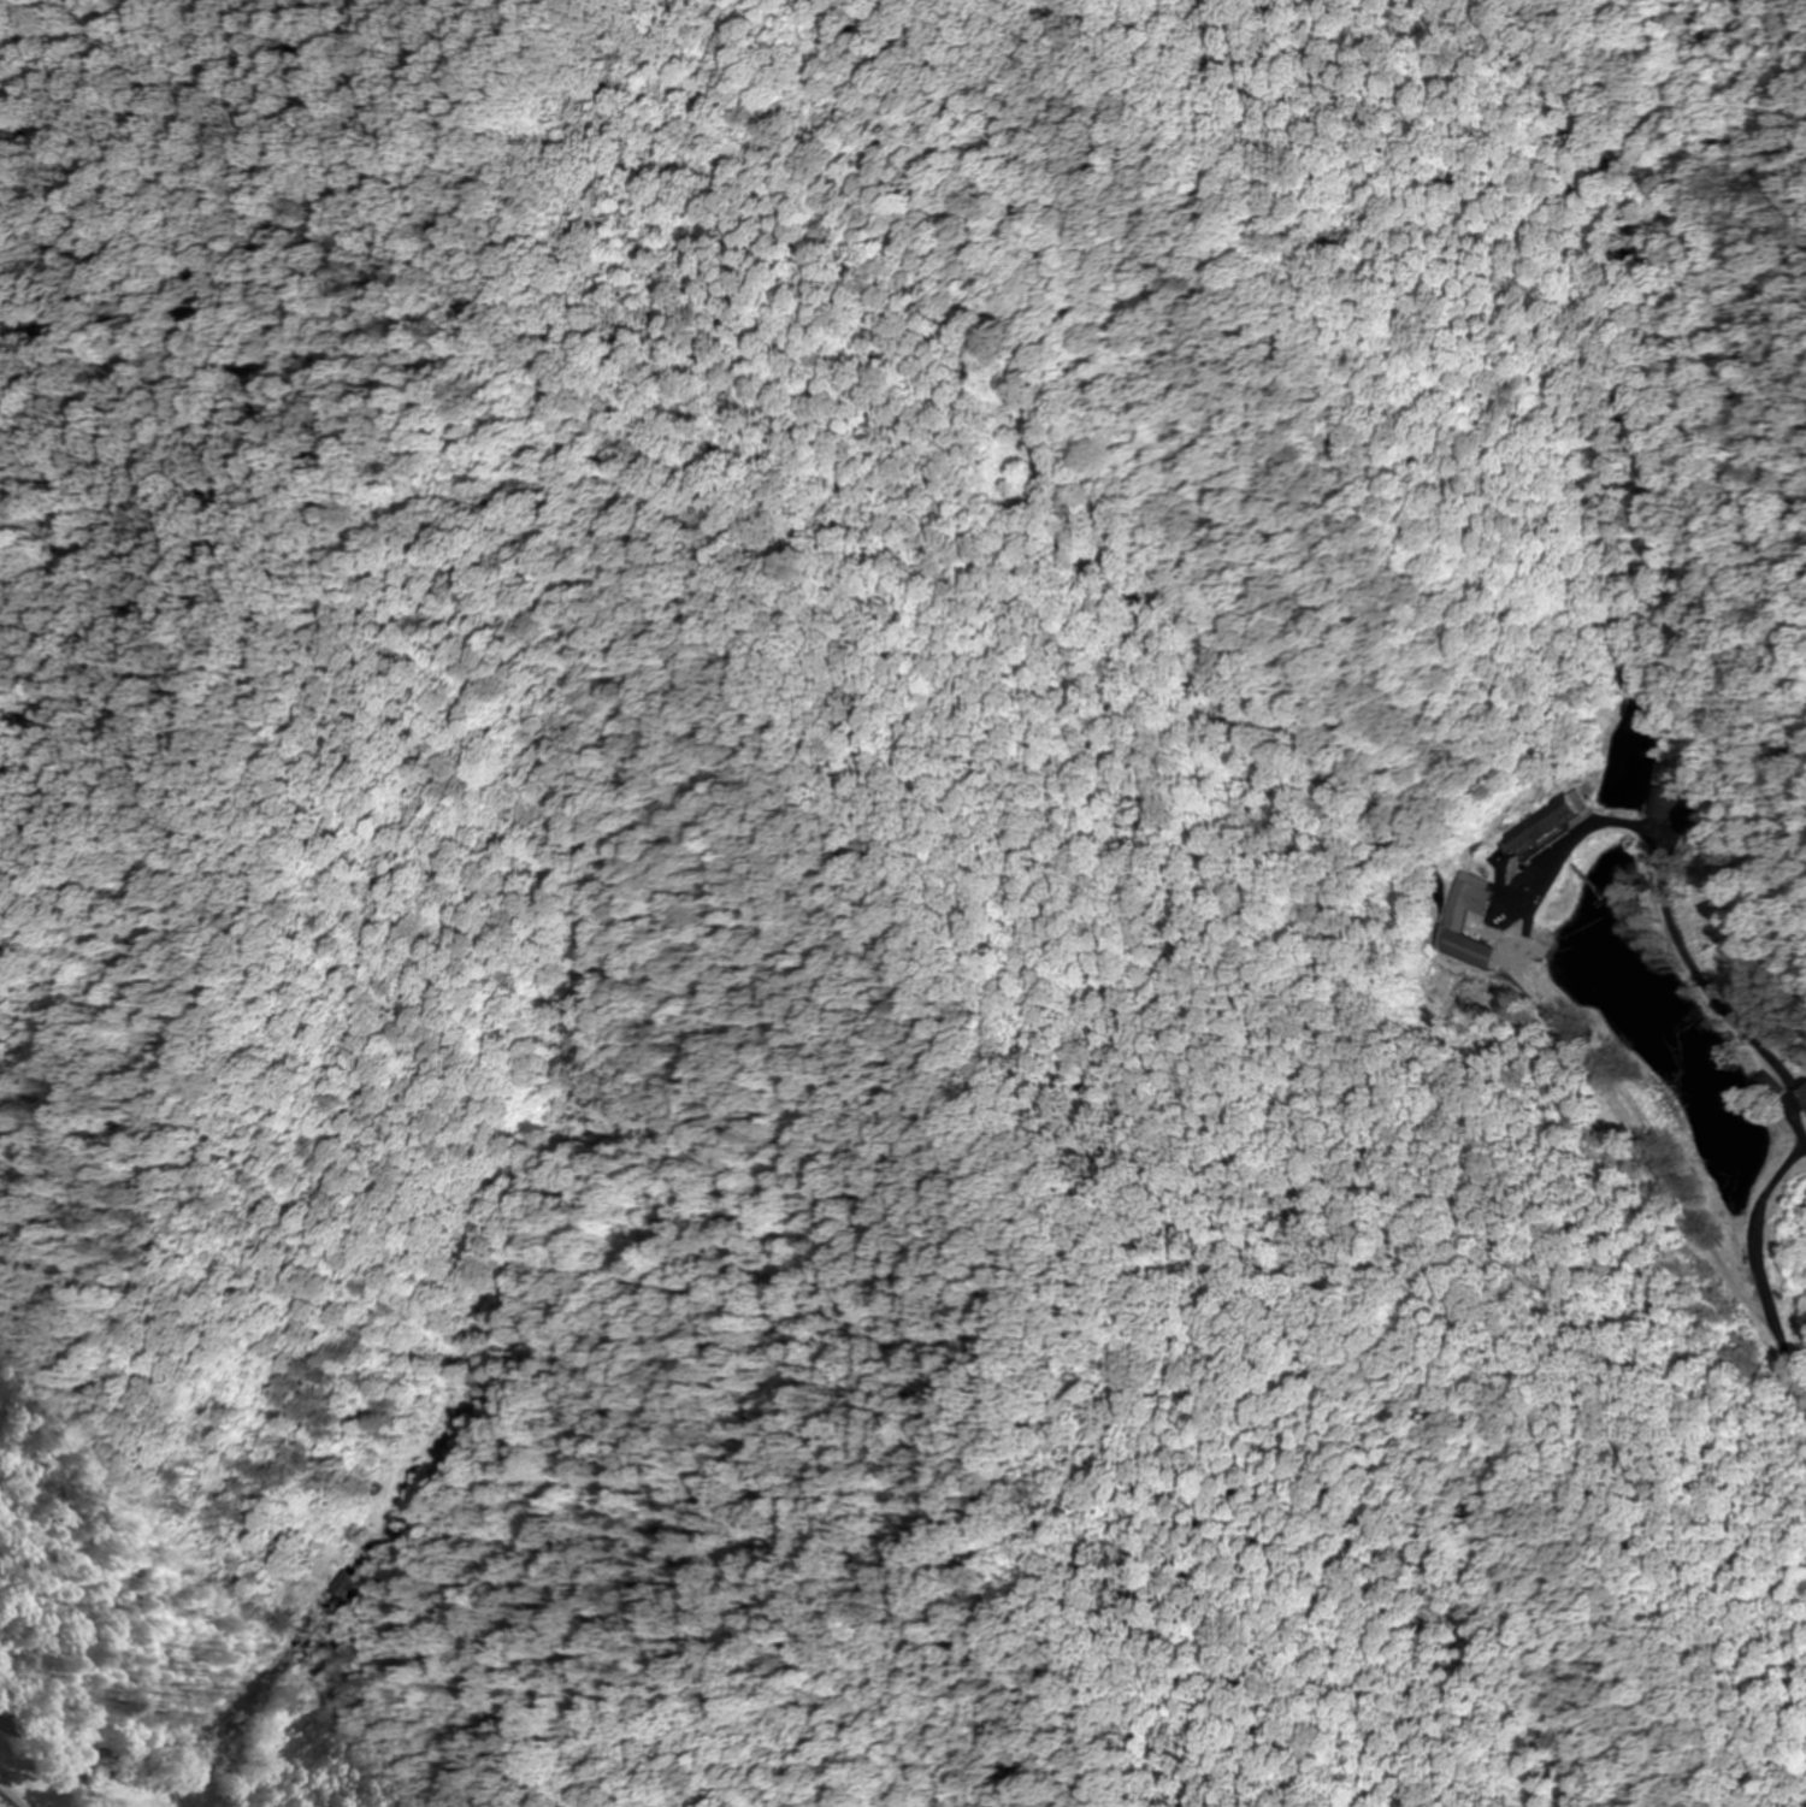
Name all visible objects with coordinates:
building: (1671, 803)
building: (1453, 925)
building: (1804, 1097)
road: (1792, 1099)
road: (1309, 1342)
building: (347, 1587)
road: (51, 1758)
building: (12, 1794)

